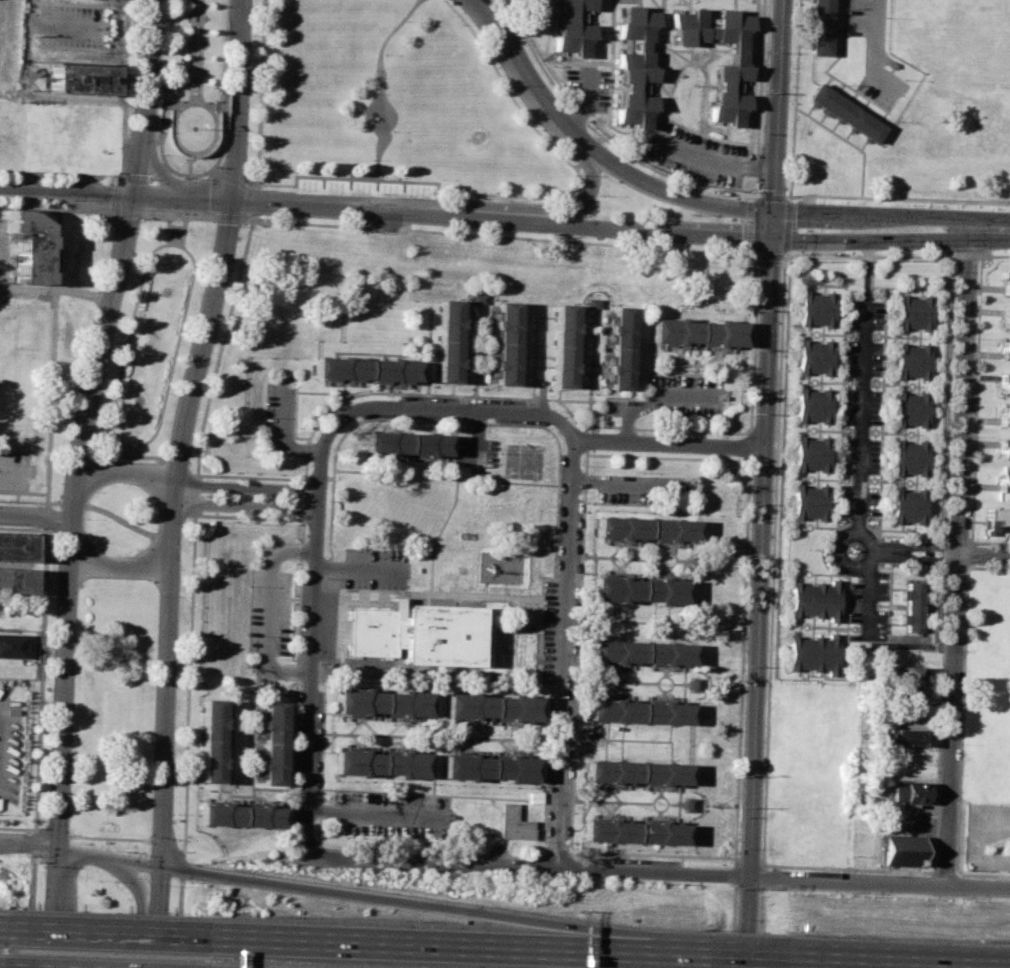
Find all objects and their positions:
road: (655, 7)
road: (71, 26)
parking lot: (74, 26)
building: (820, 26)
building: (572, 28)
parking lot: (9, 45)
road: (659, 48)
parking lot: (874, 50)
road: (876, 50)
road: (674, 53)
road: (550, 58)
building: (634, 67)
road: (519, 68)
road: (676, 69)
building: (730, 73)
building: (84, 78)
road: (381, 84)
parking lot: (588, 85)
park: (193, 86)
road: (126, 89)
road: (260, 91)
road: (751, 96)
road: (40, 97)
road: (222, 99)
road: (240, 99)
road: (794, 101)
road: (169, 102)
road: (192, 102)
road: (206, 103)
park: (392, 103)
road: (586, 103)
road: (222, 105)
road: (775, 105)
street lamp: (249, 106)
building: (844, 111)
street lamp: (133, 112)
road: (162, 118)
road: (222, 122)
road: (589, 126)
flagpole: (192, 129)
road: (638, 132)
road: (847, 141)
road: (191, 152)
street lamp: (159, 154)
road: (749, 154)
parking lot: (694, 155)
road: (714, 159)
road: (753, 163)
road: (191, 167)
street lamp: (120, 171)
road: (373, 172)
road: (190, 173)
road: (61, 175)
road: (576, 175)
road: (312, 176)
street lamp: (39, 177)
street lamp: (186, 178)
street lamp: (76, 179)
road: (148, 180)
road: (685, 182)
road: (192, 191)
road: (662, 191)
road: (249, 193)
road: (758, 193)
road: (113, 194)
road: (117, 194)
road: (771, 194)
traffic signals: (135, 195)
road: (755, 195)
road: (896, 198)
street lamp: (76, 199)
traffic signals: (234, 199)
street lamp: (37, 202)
road: (327, 204)
road: (29, 207)
road: (552, 208)
road: (84, 209)
traffic signals: (771, 210)
road: (128, 213)
road: (180, 213)
road: (871, 213)
road: (110, 214)
street lamp: (259, 216)
street lamp: (111, 220)
road: (754, 224)
road: (771, 224)
road: (596, 225)
road: (785, 225)
street lamp: (242, 226)
road: (990, 227)
road: (169, 228)
road: (183, 229)
road: (501, 236)
traffic signals: (772, 238)
road: (872, 239)
road: (172, 243)
building: (29, 247)
parking lot: (4, 249)
street lamp: (804, 251)
road: (753, 252)
road: (769, 254)
road: (994, 254)
road: (968, 255)
road: (870, 256)
street lamp: (752, 261)
street lamp: (952, 271)
building: (1006, 282)
street lamp: (100, 286)
road: (56, 290)
street lamp: (200, 293)
building: (477, 298)
building: (592, 302)
building: (815, 308)
building: (916, 313)
parking lot: (865, 315)
building: (1005, 316)
building: (697, 330)
park: (152, 334)
street lamp: (974, 336)
building: (449, 340)
road: (126, 344)
building: (506, 344)
building: (563, 345)
street lamp: (756, 346)
building: (620, 347)
building: (1006, 349)
road: (429, 353)
road: (532, 356)
building: (813, 357)
parking lot: (863, 357)
building: (914, 362)
building: (366, 368)
road: (590, 368)
road: (482, 372)
street lamp: (106, 374)
street lamp: (207, 378)
road: (52, 379)
building: (1005, 381)
road: (457, 383)
road: (345, 384)
road: (475, 384)
road: (861, 385)
road: (342, 386)
road: (389, 387)
road: (569, 388)
road: (298, 392)
street lamp: (398, 396)
road: (540, 397)
parking lot: (676, 398)
road: (946, 398)
road: (580, 399)
road: (655, 399)
road: (975, 399)
building: (811, 406)
parking lot: (861, 406)
road: (447, 408)
street lamp: (558, 409)
building: (911, 410)
street lamp: (753, 411)
street lamp: (332, 414)
road: (204, 416)
building: (1004, 417)
road: (282, 418)
parking lot: (281, 419)
road: (85, 421)
road: (881, 423)
road: (628, 427)
road: (299, 429)
street lamp: (641, 432)
street lamp: (970, 434)
street lamp: (739, 435)
road: (324, 437)
road: (478, 437)
road: (290, 439)
road: (669, 442)
building: (410, 443)
building: (1003, 447)
street lamp: (66, 449)
road: (129, 449)
road: (300, 449)
parking lot: (478, 452)
street lamp: (165, 453)
road: (127, 454)
building: (809, 454)
parking lot: (860, 455)
road: (333, 457)
building: (910, 458)
street lamp: (582, 465)
road: (178, 467)
parking lot: (14, 470)
road: (18, 470)
road: (477, 471)
road: (395, 472)
road: (558, 473)
road: (194, 474)
road: (197, 476)
road: (319, 480)
road: (625, 481)
building: (1002, 481)
street lamp: (123, 483)
road: (514, 483)
road: (195, 484)
road: (195, 493)
street lamp: (202, 495)
road: (304, 496)
street lamp: (296, 498)
street lamp: (328, 500)
parking lot: (858, 500)
street lamp: (750, 501)
building: (808, 503)
road: (246, 506)
building: (908, 506)
road: (453, 508)
road: (47, 515)
road: (112, 516)
building: (996, 516)
street lamp: (83, 517)
park: (119, 518)
street lamp: (156, 520)
street lamp: (30, 526)
building: (647, 528)
road: (173, 530)
street lamp: (967, 537)
road: (956, 538)
road: (967, 538)
road: (990, 541)
building: (16, 546)
road: (914, 546)
road: (84, 552)
road: (942, 552)
road: (969, 553)
street lamp: (119, 554)
road: (983, 554)
street lamp: (748, 555)
road: (957, 555)
road: (761, 556)
road: (837, 557)
road: (914, 558)
street lamp: (55, 561)
street lamp: (580, 563)
street lamp: (976, 564)
road: (942, 566)
road: (956, 567)
road: (987, 567)
parking lot: (378, 568)
road: (362, 569)
building: (17, 580)
building: (638, 589)
road: (402, 592)
street lamp: (157, 595)
road: (865, 600)
building: (813, 601)
building: (912, 608)
road: (272, 613)
road: (299, 613)
parking lot: (271, 622)
parking lot: (330, 626)
building: (416, 634)
street lamp: (963, 639)
building: (11, 644)
road: (565, 644)
road: (768, 647)
building: (641, 652)
building: (810, 654)
road: (41, 656)
street lamp: (177, 656)
street lamp: (575, 662)
street lamp: (744, 665)
building: (910, 674)
road: (479, 677)
road: (188, 681)
road: (314, 683)
building: (693, 684)
building: (912, 693)
building: (382, 702)
building: (491, 705)
building: (639, 711)
park: (112, 714)
road: (961, 717)
road: (939, 718)
road: (0, 719)
street lamp: (50, 722)
street lamp: (151, 729)
building: (909, 736)
building: (211, 740)
building: (273, 742)
street lamp: (959, 742)
parking lot: (11, 743)
street lamp: (573, 760)
building: (380, 762)
building: (490, 767)
building: (637, 771)
street lamp: (740, 772)
building: (910, 772)
building: (910, 791)
building: (688, 803)
road: (920, 808)
street lamp: (69, 812)
street lamp: (171, 813)
road: (378, 813)
parking lot: (390, 813)
building: (240, 816)
building: (513, 821)
road: (17, 828)
building: (633, 832)
road: (90, 837)
building: (794, 837)
street lamp: (567, 841)
road: (162, 846)
traffic signals: (58, 848)
street lamp: (109, 848)
road: (430, 848)
street lamp: (737, 848)
street lamp: (955, 850)
building: (900, 851)
road: (80, 852)
street lamp: (15, 854)
road: (732, 857)
road: (434, 862)
road: (179, 864)
traffic signals: (160, 868)
street lamp: (333, 868)
road: (653, 871)
road: (944, 871)
street lamp: (442, 873)
street lamp: (43, 874)
road: (982, 874)
street lamp: (551, 876)
street lamp: (98, 880)
road: (880, 880)
street lamp: (113, 881)
street lamp: (662, 883)
street lamp: (168, 885)
street lamp: (862, 892)
street lamp: (959, 896)
road: (31, 898)
road: (395, 901)
road: (56, 908)
road: (157, 918)
street lamp: (735, 918)
park: (103, 920)
road: (177, 921)
road: (748, 921)
road: (0, 927)
road: (101, 932)
road: (414, 944)
road: (666, 954)
road: (57, 958)
road: (746, 958)
road: (892, 964)

